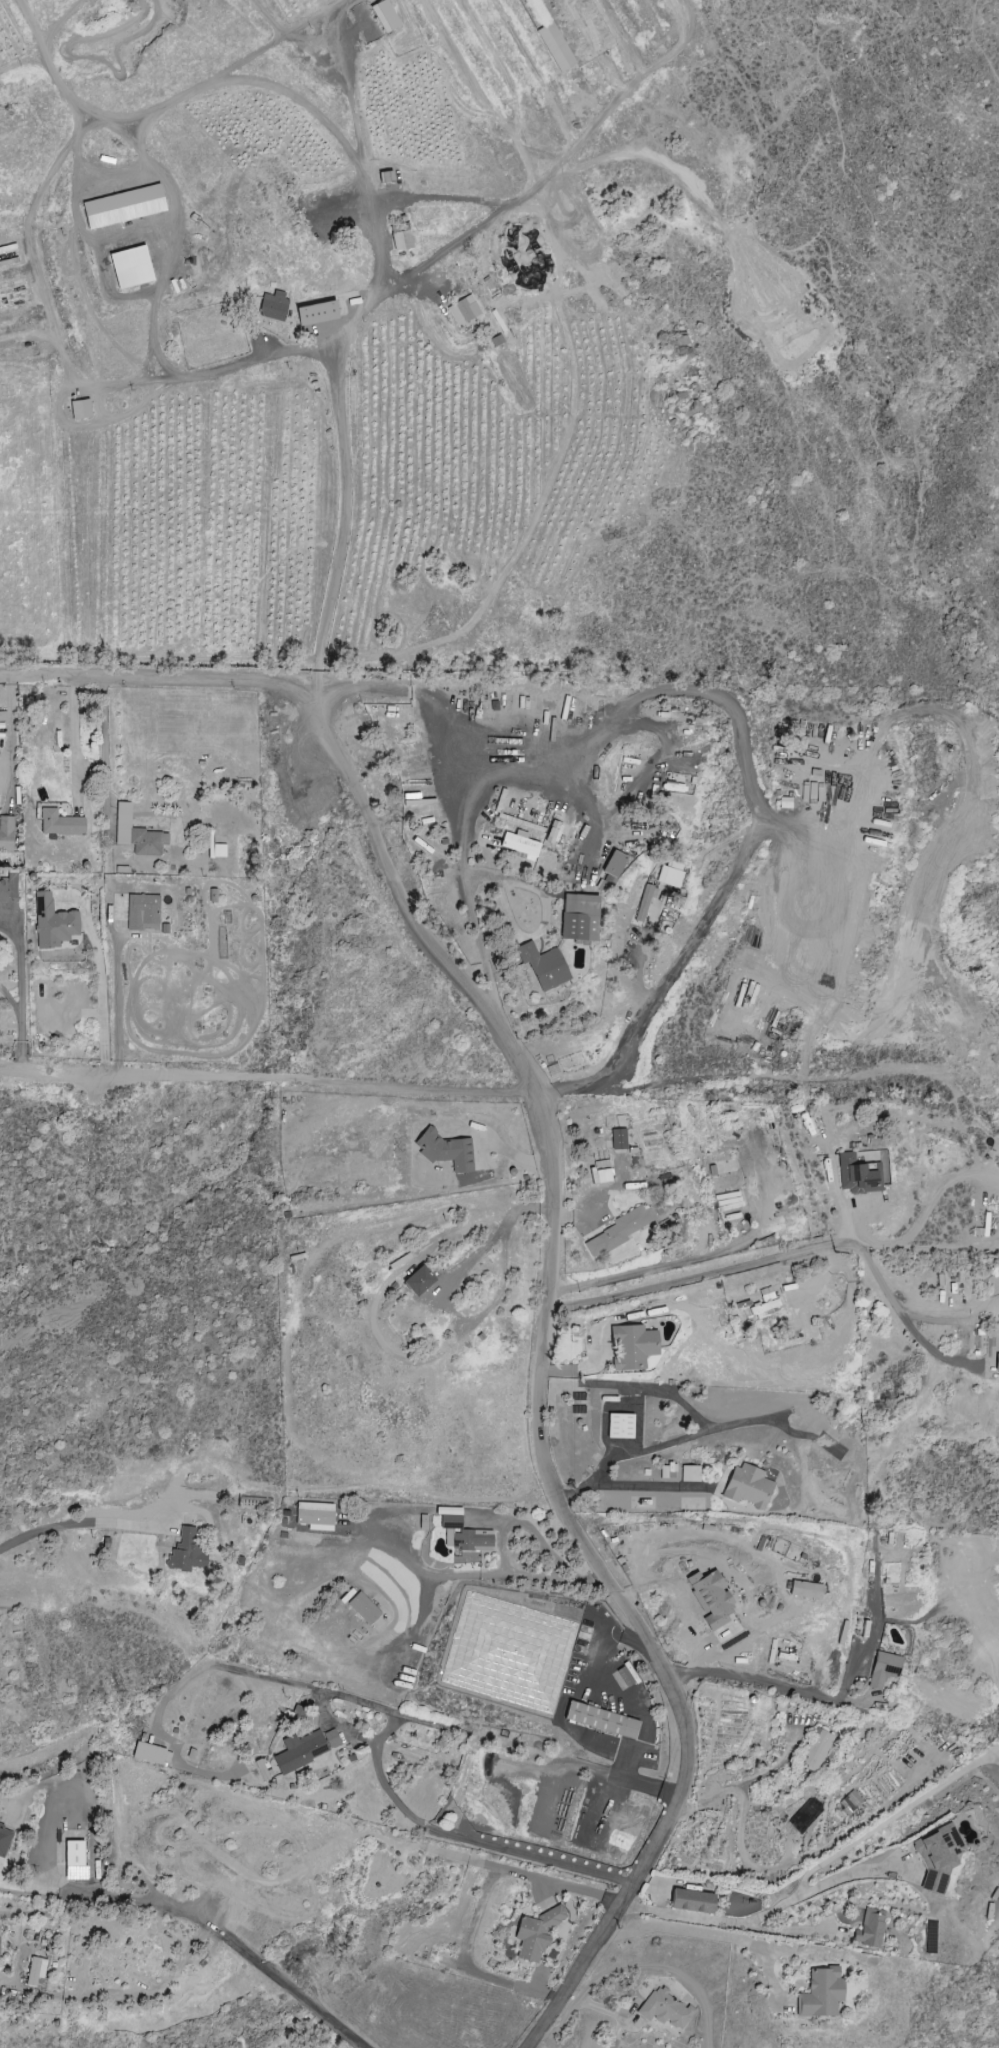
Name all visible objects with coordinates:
road: (321, 14)
building: (384, 16)
road: (64, 25)
building: (555, 47)
road: (22, 59)
road: (478, 95)
road: (306, 104)
road: (136, 124)
road: (556, 165)
road: (114, 176)
building: (123, 206)
road: (77, 222)
building: (401, 240)
road: (445, 249)
building: (131, 266)
road: (42, 305)
building: (273, 305)
building: (463, 310)
building: (319, 312)
road: (354, 317)
road: (152, 327)
road: (166, 679)
road: (427, 704)
building: (694, 720)
road: (73, 742)
road: (101, 749)
building: (630, 764)
road: (752, 792)
building: (59, 823)
building: (553, 832)
building: (136, 833)
building: (6, 834)
building: (519, 843)
building: (614, 863)
building: (607, 880)
building: (8, 887)
building: (643, 903)
building: (142, 912)
building: (579, 917)
building: (52, 922)
building: (544, 966)
road: (19, 987)
road: (100, 987)
road: (516, 1061)
road: (720, 1075)
road: (266, 1078)
road: (852, 1106)
building: (618, 1139)
building: (445, 1150)
building: (998, 1166)
building: (600, 1172)
building: (856, 1175)
road: (598, 1197)
road: (925, 1206)
building: (622, 1229)
road: (951, 1245)
road: (699, 1257)
road: (691, 1275)
building: (418, 1280)
building: (766, 1294)
road: (892, 1301)
building: (765, 1309)
road: (951, 1320)
building: (632, 1347)
road: (674, 1397)
building: (620, 1426)
road: (661, 1444)
building: (667, 1471)
building: (690, 1474)
road: (649, 1485)
building: (748, 1486)
building: (448, 1511)
building: (315, 1516)
road: (68, 1526)
road: (526, 1526)
building: (465, 1536)
building: (185, 1552)
road: (415, 1564)
road: (541, 1575)
building: (805, 1589)
building: (710, 1597)
building: (363, 1608)
road: (414, 1622)
road: (607, 1644)
road: (212, 1664)
building: (884, 1668)
building: (624, 1676)
road: (765, 1680)
road: (362, 1701)
building: (601, 1719)
road: (356, 1735)
building: (305, 1748)
building: (815, 1748)
building: (148, 1752)
building: (262, 1768)
road: (616, 1778)
road: (682, 1778)
road: (381, 1780)
road: (737, 1783)
building: (851, 1801)
road: (419, 1821)
building: (4, 1840)
building: (937, 1856)
road: (533, 1858)
building: (74, 1860)
road: (85, 1896)
building: (692, 1901)
road: (753, 1919)
building: (870, 1928)
road: (794, 1931)
building: (536, 1932)
road: (699, 1933)
road: (260, 1966)
building: (35, 1972)
building: (821, 1993)
building: (665, 2008)
road: (616, 2031)

